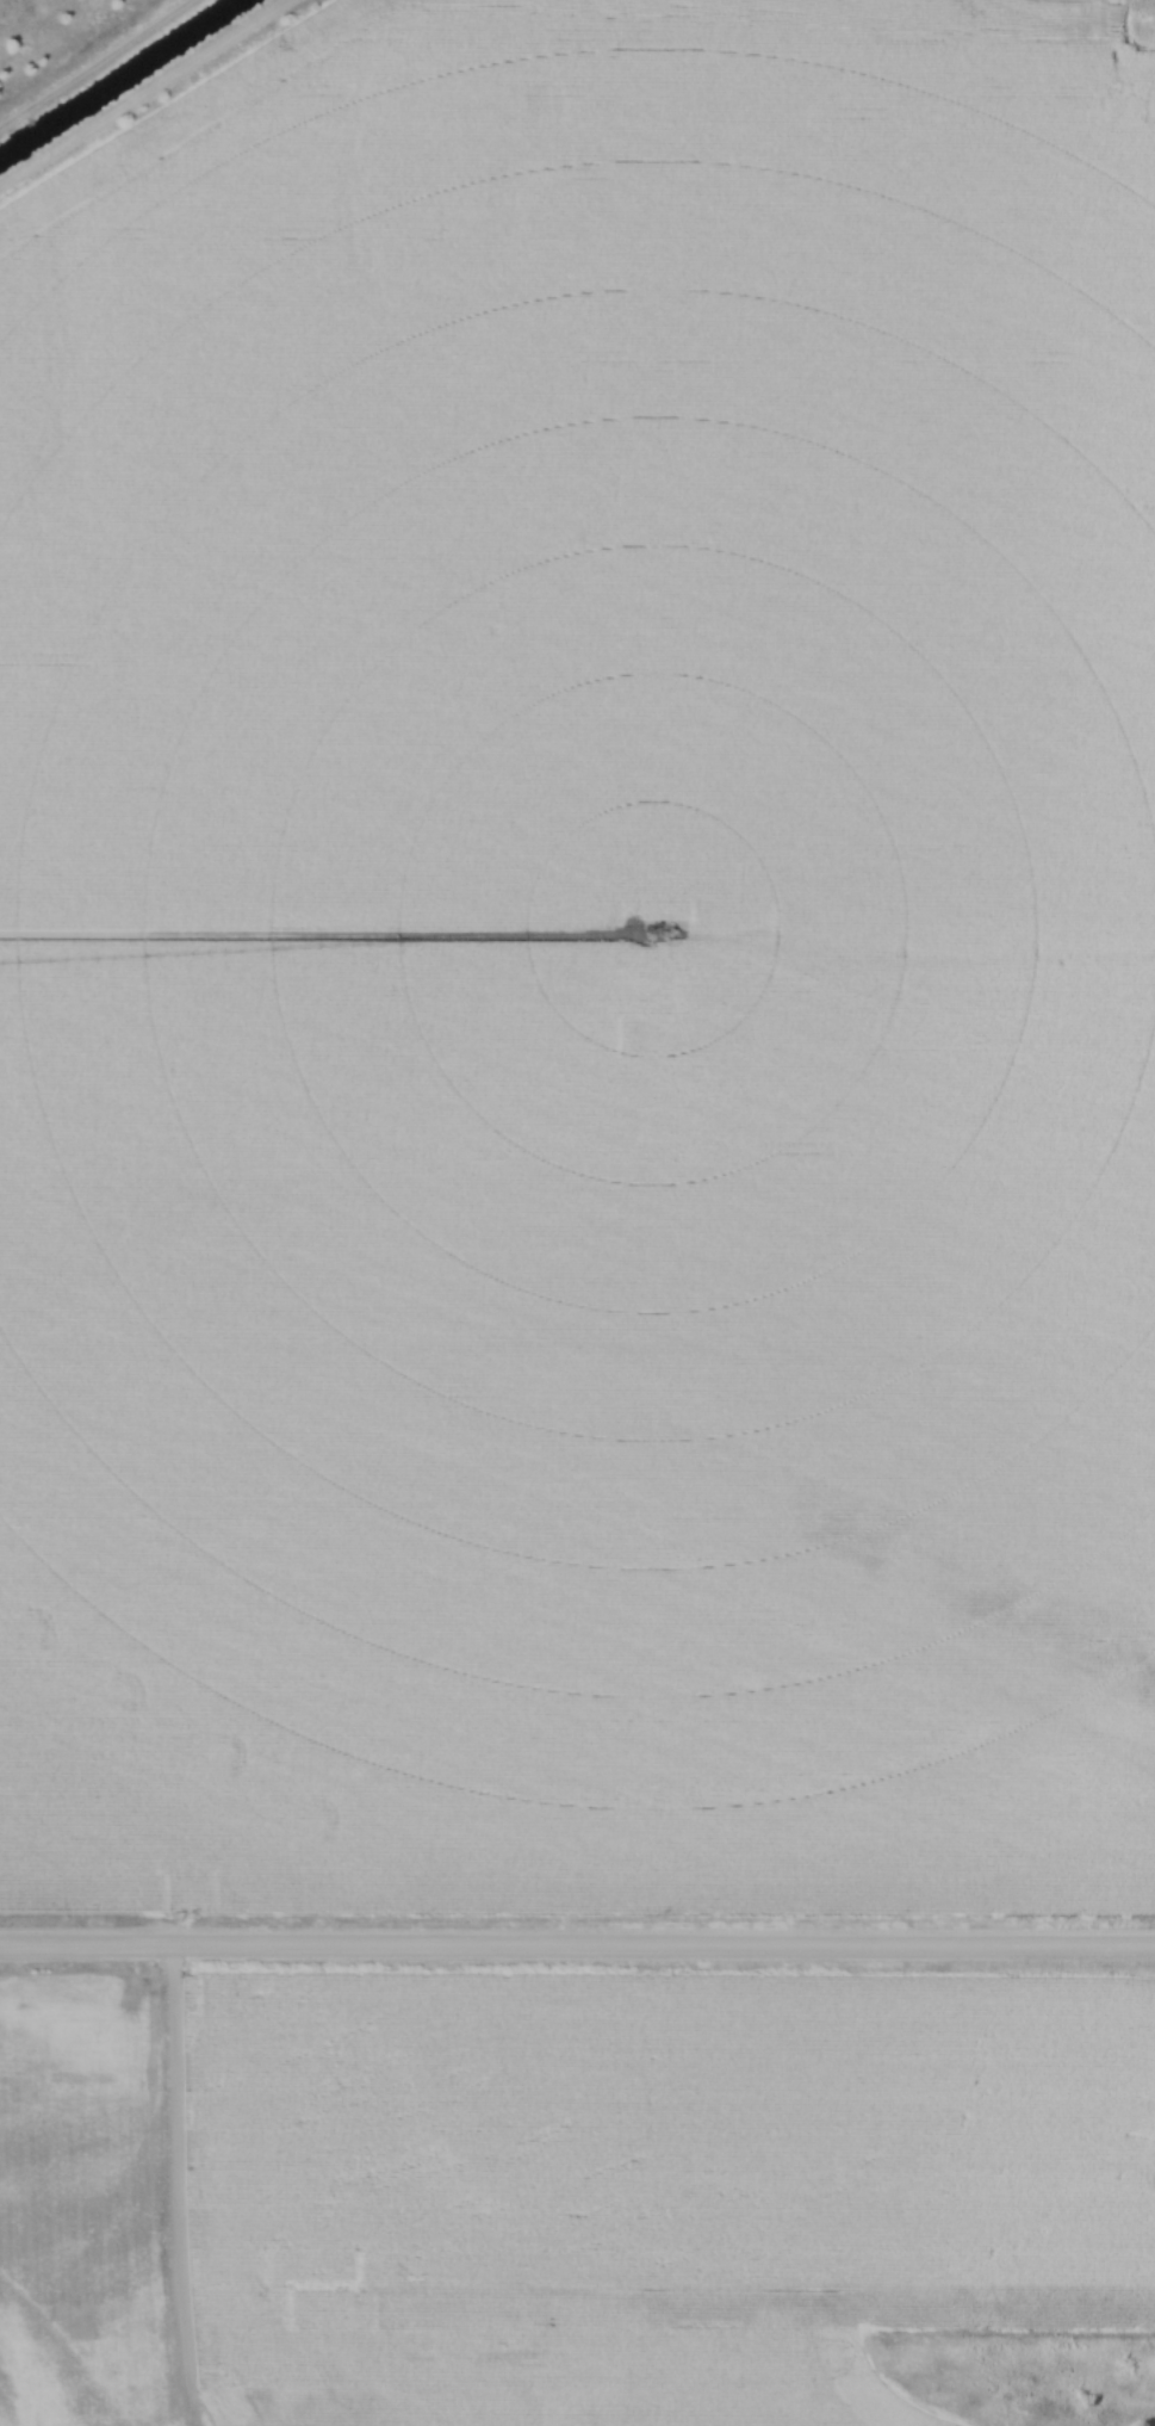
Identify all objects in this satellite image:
road: (577, 1945)

